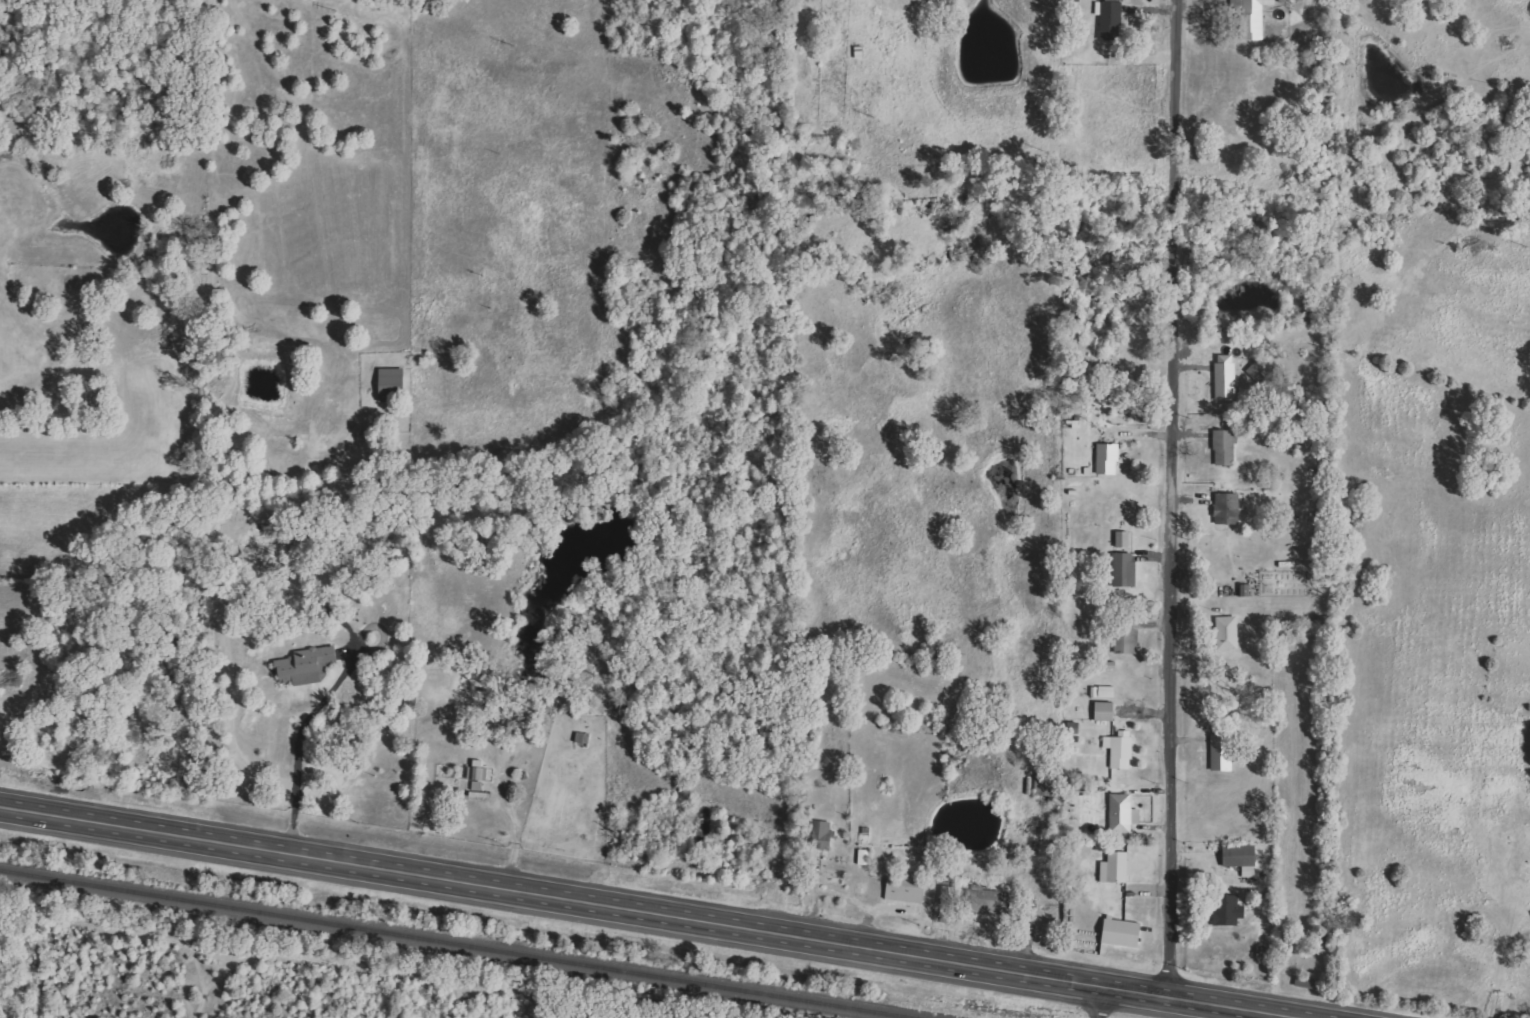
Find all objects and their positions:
building: (1251, 17)
building: (1112, 20)
building: (1228, 377)
building: (395, 384)
building: (1227, 448)
building: (1109, 459)
road: (1170, 497)
building: (1229, 507)
building: (1126, 540)
building: (1126, 570)
building: (1230, 633)
building: (1129, 640)
building: (310, 666)
road: (319, 704)
building: (1108, 711)
building: (1122, 750)
building: (1224, 752)
building: (480, 770)
building: (1047, 786)
building: (1125, 814)
building: (825, 835)
building: (1237, 855)
building: (867, 857)
building: (1118, 868)
building: (908, 890)
building: (951, 895)
building: (989, 901)
building: (1226, 909)
road: (653, 910)
building: (1121, 932)
railway: (459, 943)
road: (1100, 1002)

